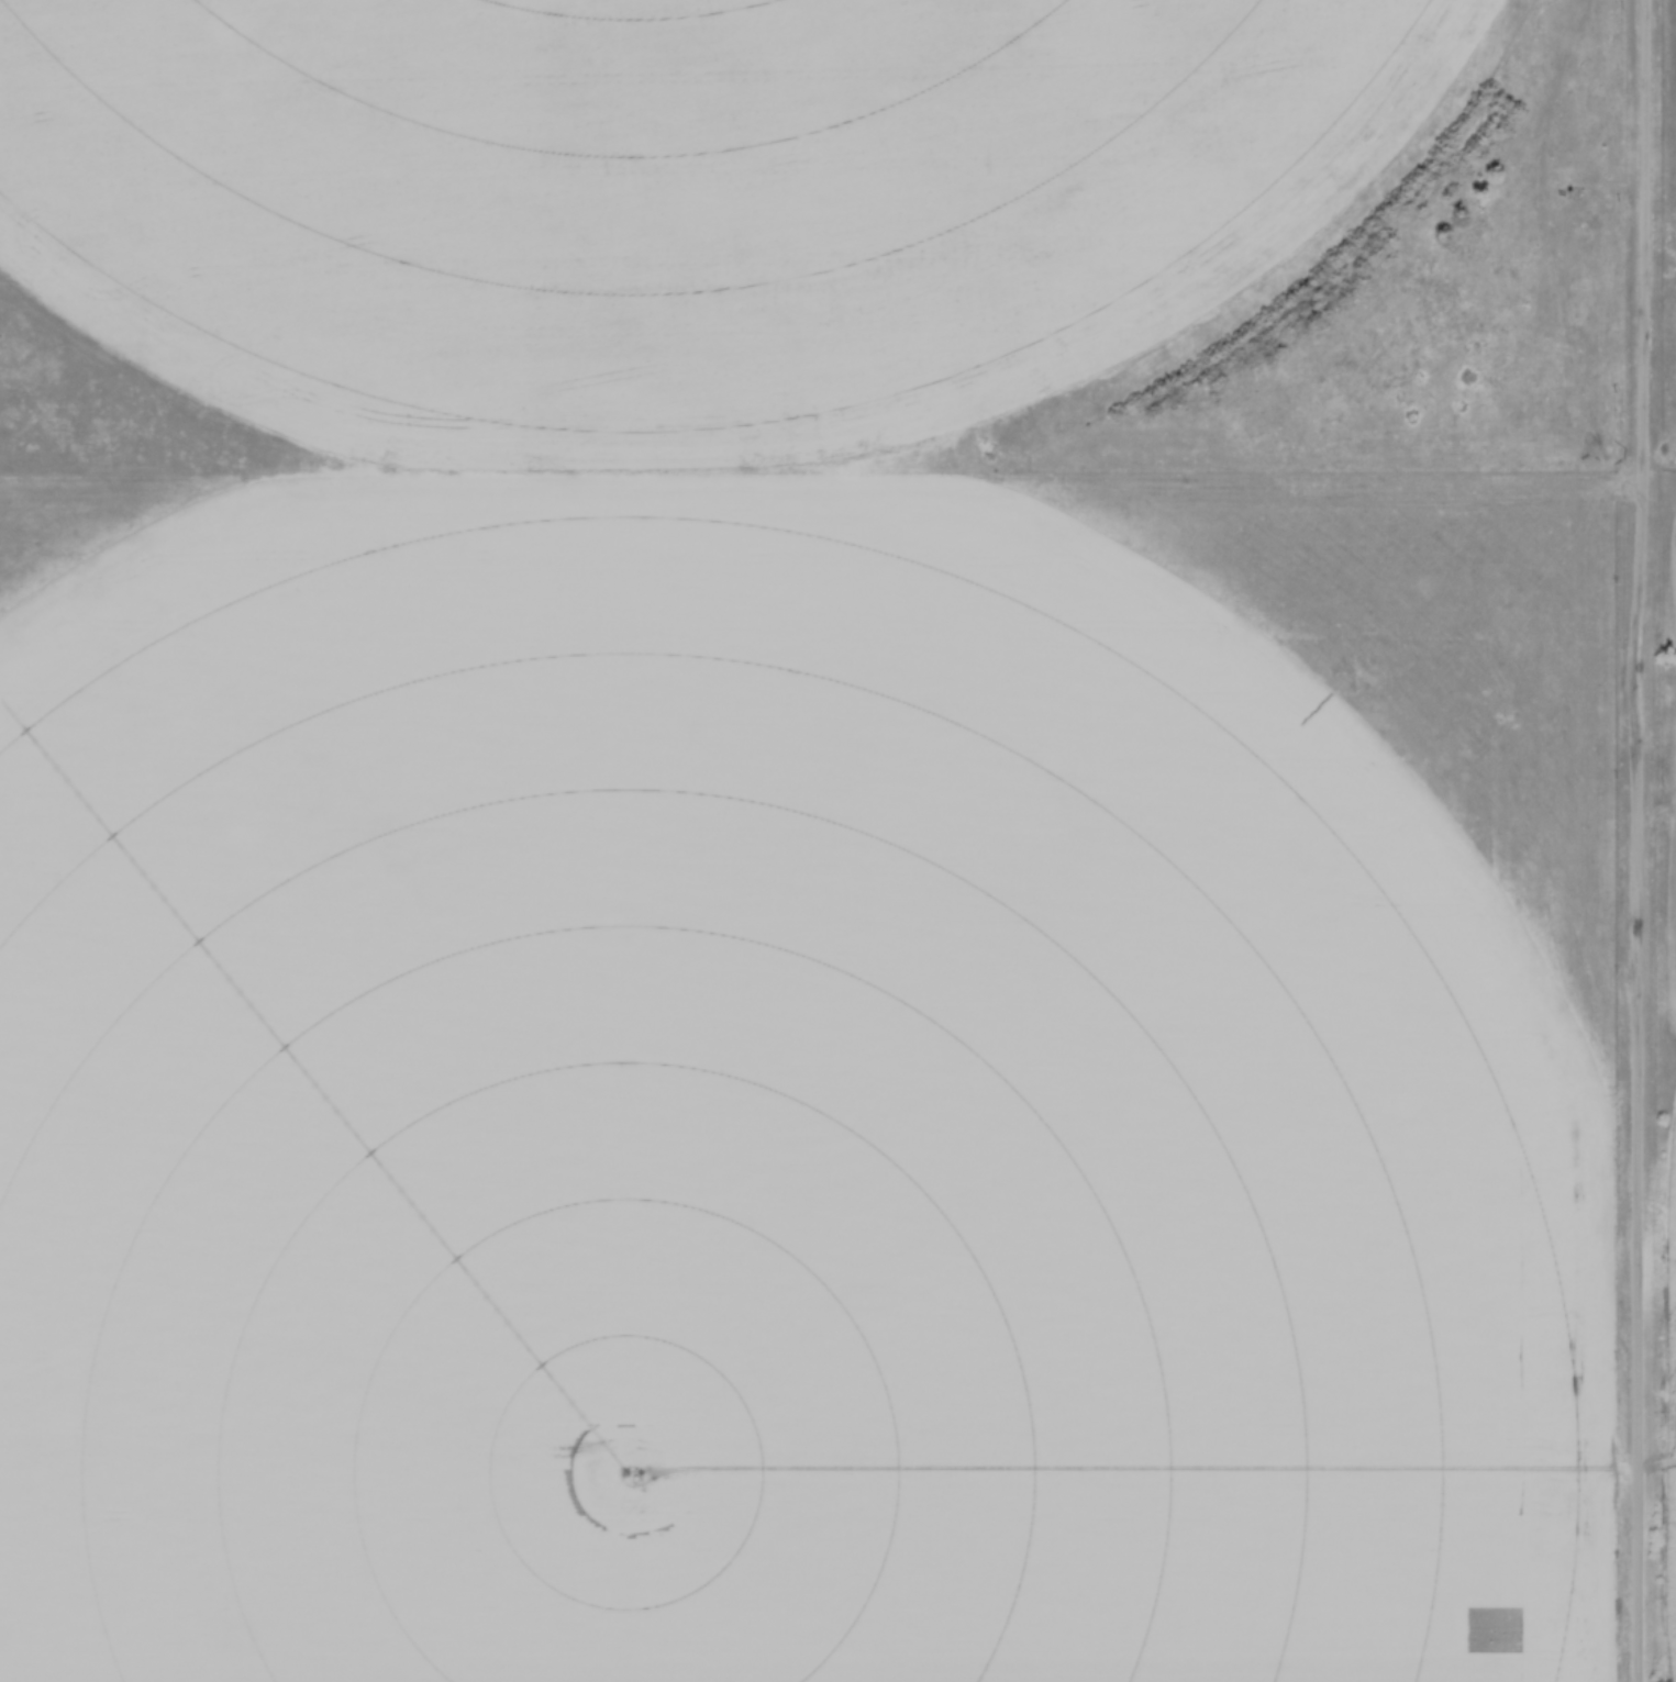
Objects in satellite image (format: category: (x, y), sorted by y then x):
road: (1640, 840)

